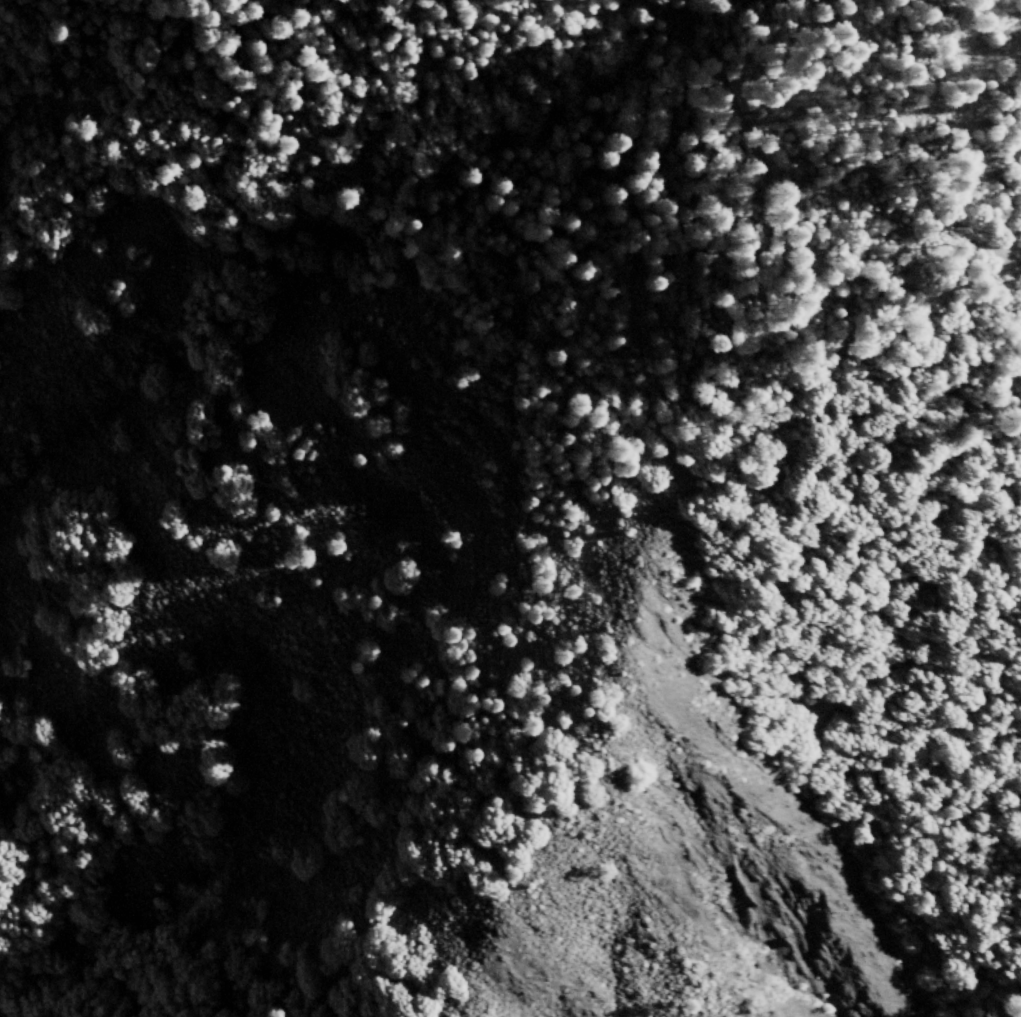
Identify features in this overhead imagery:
road: (778, 312)
road: (424, 381)

